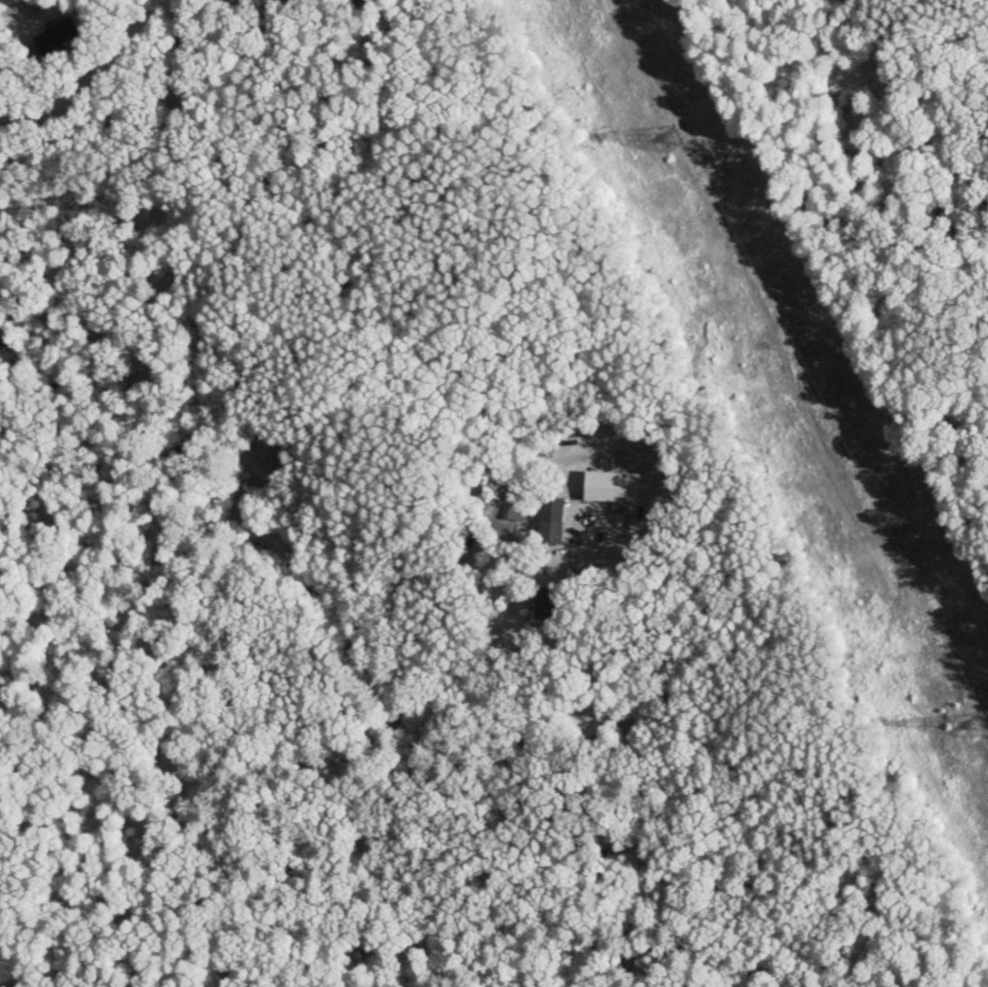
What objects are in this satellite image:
road: (79, 1)
road: (166, 46)
road: (66, 109)
power tower: (669, 137)
road: (227, 420)
power tower: (973, 725)

